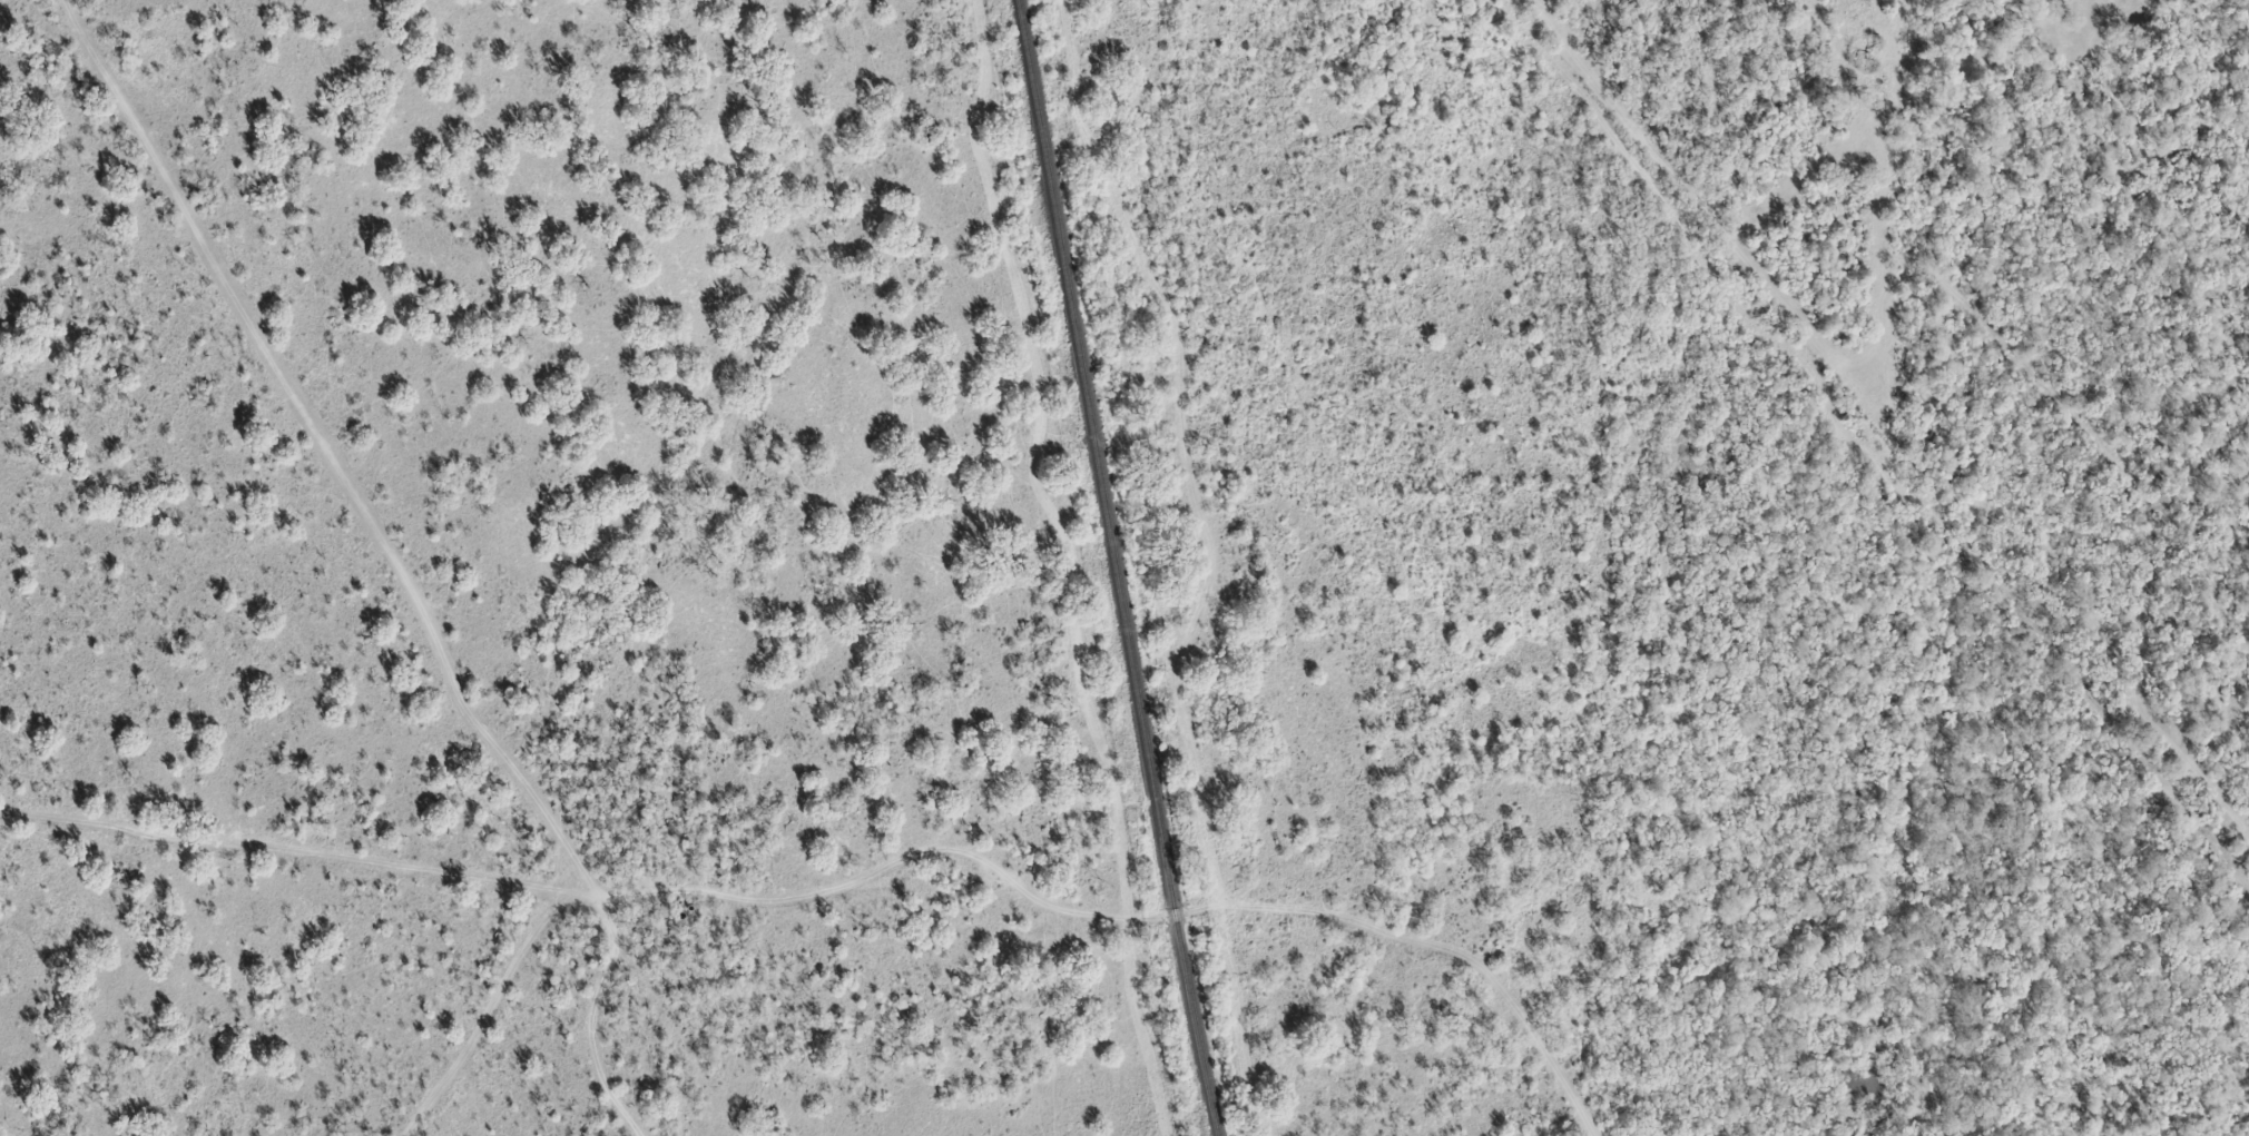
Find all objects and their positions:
railway: (1112, 569)

